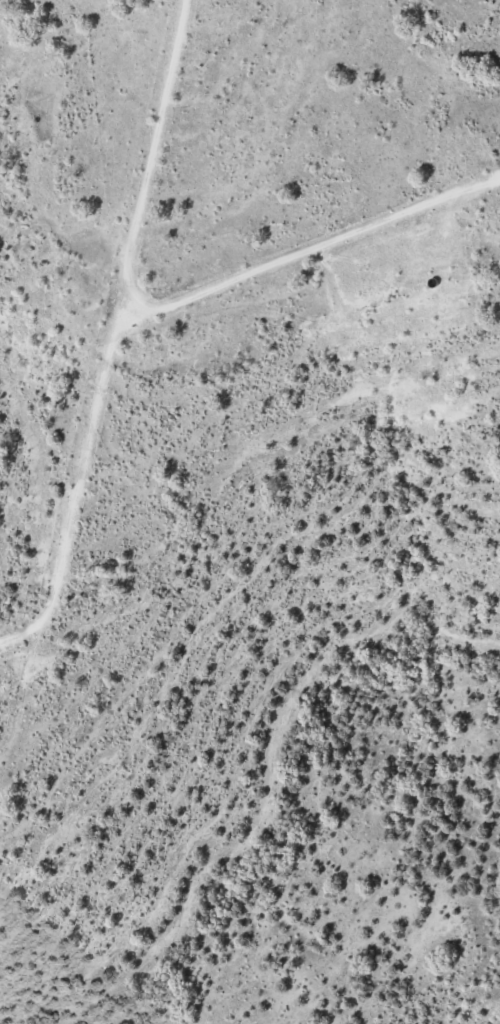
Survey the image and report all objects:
road: (319, 202)

